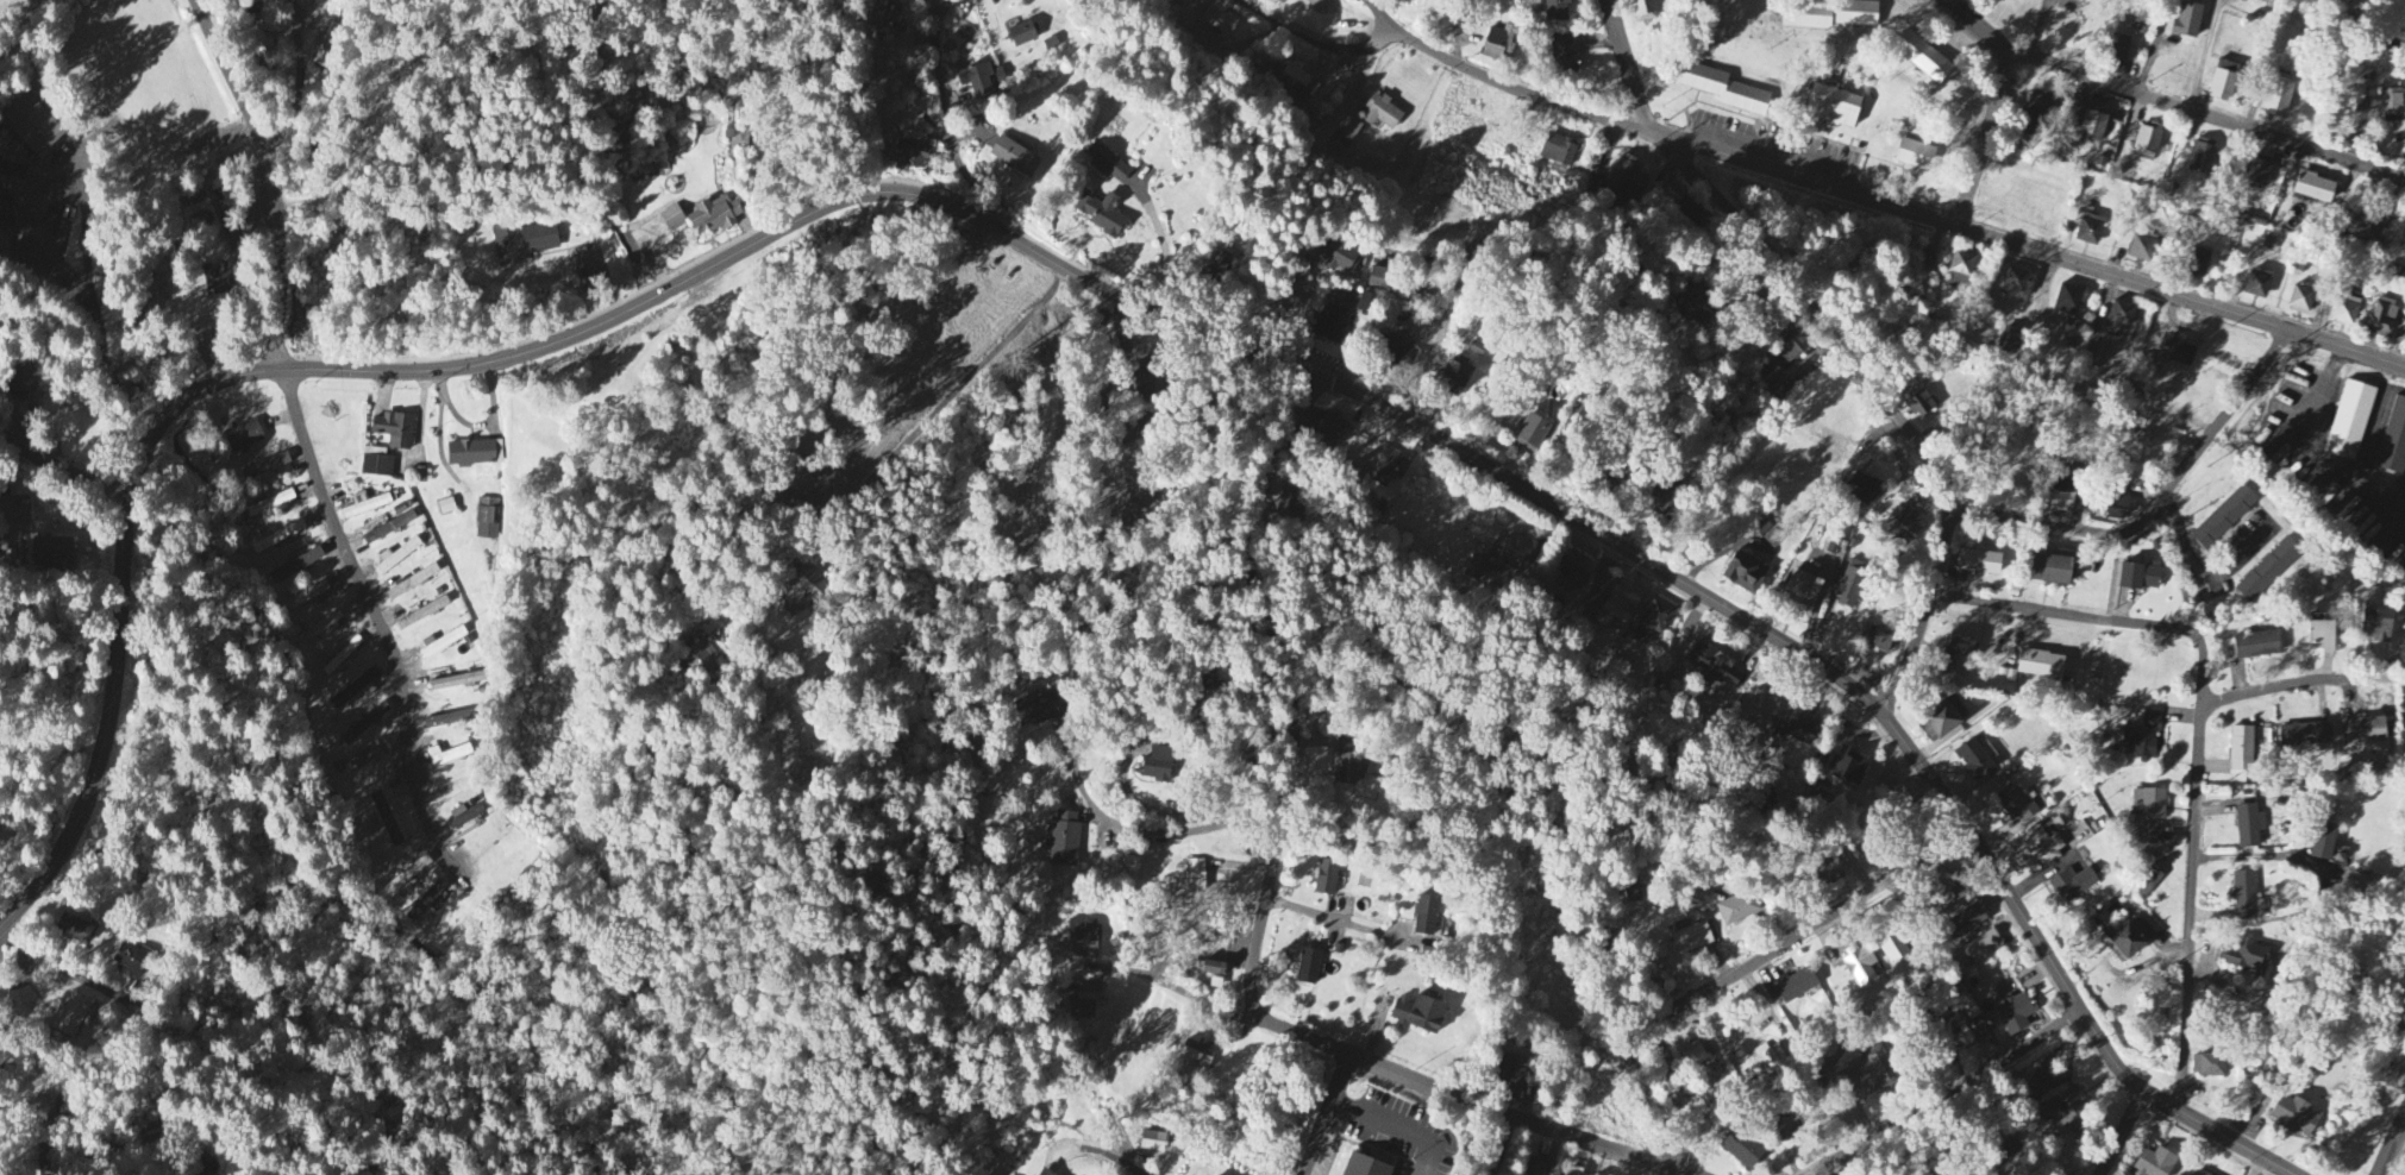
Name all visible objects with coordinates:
building: (1415, 1)
building: (2262, 1)
building: (1324, 5)
road: (1380, 11)
building: (1557, 11)
building: (1643, 11)
building: (1827, 15)
building: (888, 20)
building: (2187, 20)
building: (1220, 23)
road: (2040, 29)
building: (2143, 29)
road: (1975, 32)
building: (1021, 34)
road: (1317, 40)
building: (1499, 43)
road: (2155, 46)
building: (263, 49)
building: (2117, 52)
building: (1567, 54)
road: (2205, 54)
building: (1922, 57)
road: (1629, 65)
road: (300, 80)
building: (982, 80)
building: (1292, 81)
building: (2223, 81)
building: (1722, 89)
road: (2127, 89)
building: (2278, 98)
building: (2392, 103)
building: (1831, 106)
road: (945, 107)
building: (2040, 111)
building: (1382, 113)
building: (32, 125)
building: (2093, 125)
building: (1345, 136)
building: (2147, 140)
building: (912, 150)
building: (1559, 151)
building: (1915, 156)
building: (1014, 157)
building: (2202, 157)
building: (1111, 162)
building: (2255, 174)
building: (1628, 176)
road: (273, 177)
building: (2313, 189)
road: (1893, 206)
building: (1106, 214)
building: (714, 215)
building: (671, 219)
road: (1504, 221)
building: (2088, 230)
building: (2363, 231)
building: (522, 243)
road: (1163, 243)
building: (2142, 247)
building: (1338, 252)
road: (651, 256)
building: (1303, 262)
building: (2197, 264)
building: (1215, 265)
building: (1960, 270)
building: (1377, 278)
building: (218, 279)
road: (612, 281)
building: (2017, 284)
building: (2257, 284)
road: (995, 287)
building: (2067, 301)
building: (1691, 302)
building: (2300, 302)
road: (896, 303)
road: (94, 304)
building: (1364, 304)
building: (2345, 310)
building: (2121, 315)
building: (2382, 315)
building: (1332, 321)
building: (2073, 329)
building: (2010, 341)
building: (1791, 346)
building: (2177, 352)
building: (1398, 357)
road: (309, 371)
building: (1452, 377)
building: (1770, 377)
building: (1147, 378)
building: (23, 390)
road: (1883, 398)
building: (1921, 404)
building: (2350, 421)
road: (478, 426)
building: (394, 431)
building: (1329, 431)
building: (1528, 432)
road: (978, 435)
road: (912, 436)
building: (243, 438)
road: (1439, 439)
building: (2393, 441)
road: (441, 442)
building: (470, 454)
building: (377, 464)
road: (65, 467)
building: (265, 467)
building: (1389, 469)
building: (1616, 472)
building: (1866, 490)
building: (2062, 490)
building: (1662, 495)
building: (1290, 499)
road: (2159, 501)
building: (274, 505)
building: (365, 507)
building: (2117, 508)
building: (19, 510)
building: (2224, 519)
building: (488, 520)
building: (1900, 527)
building: (278, 538)
building: (51, 552)
building: (399, 557)
building: (1497, 559)
building: (1979, 564)
building: (295, 566)
building: (1573, 571)
building: (2049, 571)
building: (2268, 572)
building: (1742, 574)
road: (2209, 576)
building: (2140, 577)
building: (412, 584)
building: (1852, 585)
building: (803, 593)
building: (1798, 593)
building: (1621, 602)
road: (2067, 611)
building: (421, 615)
building: (1655, 618)
building: (2375, 627)
road: (383, 628)
building: (320, 629)
building: (2315, 636)
building: (1880, 637)
building: (441, 645)
building: (2256, 646)
building: (1958, 654)
building: (342, 656)
building: (701, 659)
building: (1715, 666)
building: (2040, 666)
building: (453, 683)
road: (1297, 684)
road: (2301, 684)
building: (356, 691)
building: (1034, 712)
building: (1941, 720)
building: (364, 725)
building: (1792, 731)
building: (2362, 731)
building: (2305, 736)
building: (2142, 739)
building: (2241, 749)
building: (371, 756)
building: (1973, 760)
building: (1348, 764)
building: (1155, 766)
building: (1848, 768)
building: (1896, 800)
building: (2016, 804)
road: (1153, 810)
building: (465, 816)
building: (2148, 817)
building: (387, 821)
building: (2249, 827)
road: (1140, 829)
building: (1064, 841)
building: (2323, 843)
building: (2043, 847)
building: (1824, 874)
building: (407, 876)
building: (1196, 876)
road: (2193, 876)
building: (1327, 879)
building: (2147, 882)
building: (2072, 885)
building: (1631, 897)
building: (2247, 899)
building: (426, 901)
building: (1737, 911)
building: (1426, 917)
building: (1966, 922)
road: (1351, 924)
building: (74, 930)
building: (1084, 940)
building: (1691, 940)
building: (2128, 940)
building: (1891, 947)
building: (1981, 949)
building: (2246, 959)
building: (132, 961)
building: (1859, 967)
building: (1308, 968)
building: (1215, 970)
road: (1739, 972)
road: (2058, 973)
road: (1191, 980)
building: (1796, 987)
building: (1079, 1011)
building: (1417, 1016)
building: (2013, 1016)
building: (69, 1017)
road: (206, 1029)
building: (1198, 1055)
building: (1693, 1057)
building: (1768, 1061)
building: (2209, 1067)
building: (1873, 1073)
building: (1515, 1077)
building: (1677, 1088)
road: (1946, 1092)
road: (1474, 1105)
road: (1335, 1108)
building: (2063, 1112)
road: (1324, 1114)
building: (2294, 1117)
road: (1402, 1129)
building: (1785, 1129)
parking lot: (1395, 1133)
road: (2127, 1136)
building: (1152, 1143)
building: (1741, 1150)
road: (2395, 1157)
building: (2154, 1163)
building: (1366, 1165)
building: (1534, 1167)
building: (200, 1171)
building: (1040, 1173)
building: (1573, 1173)
building: (2193, 1174)

